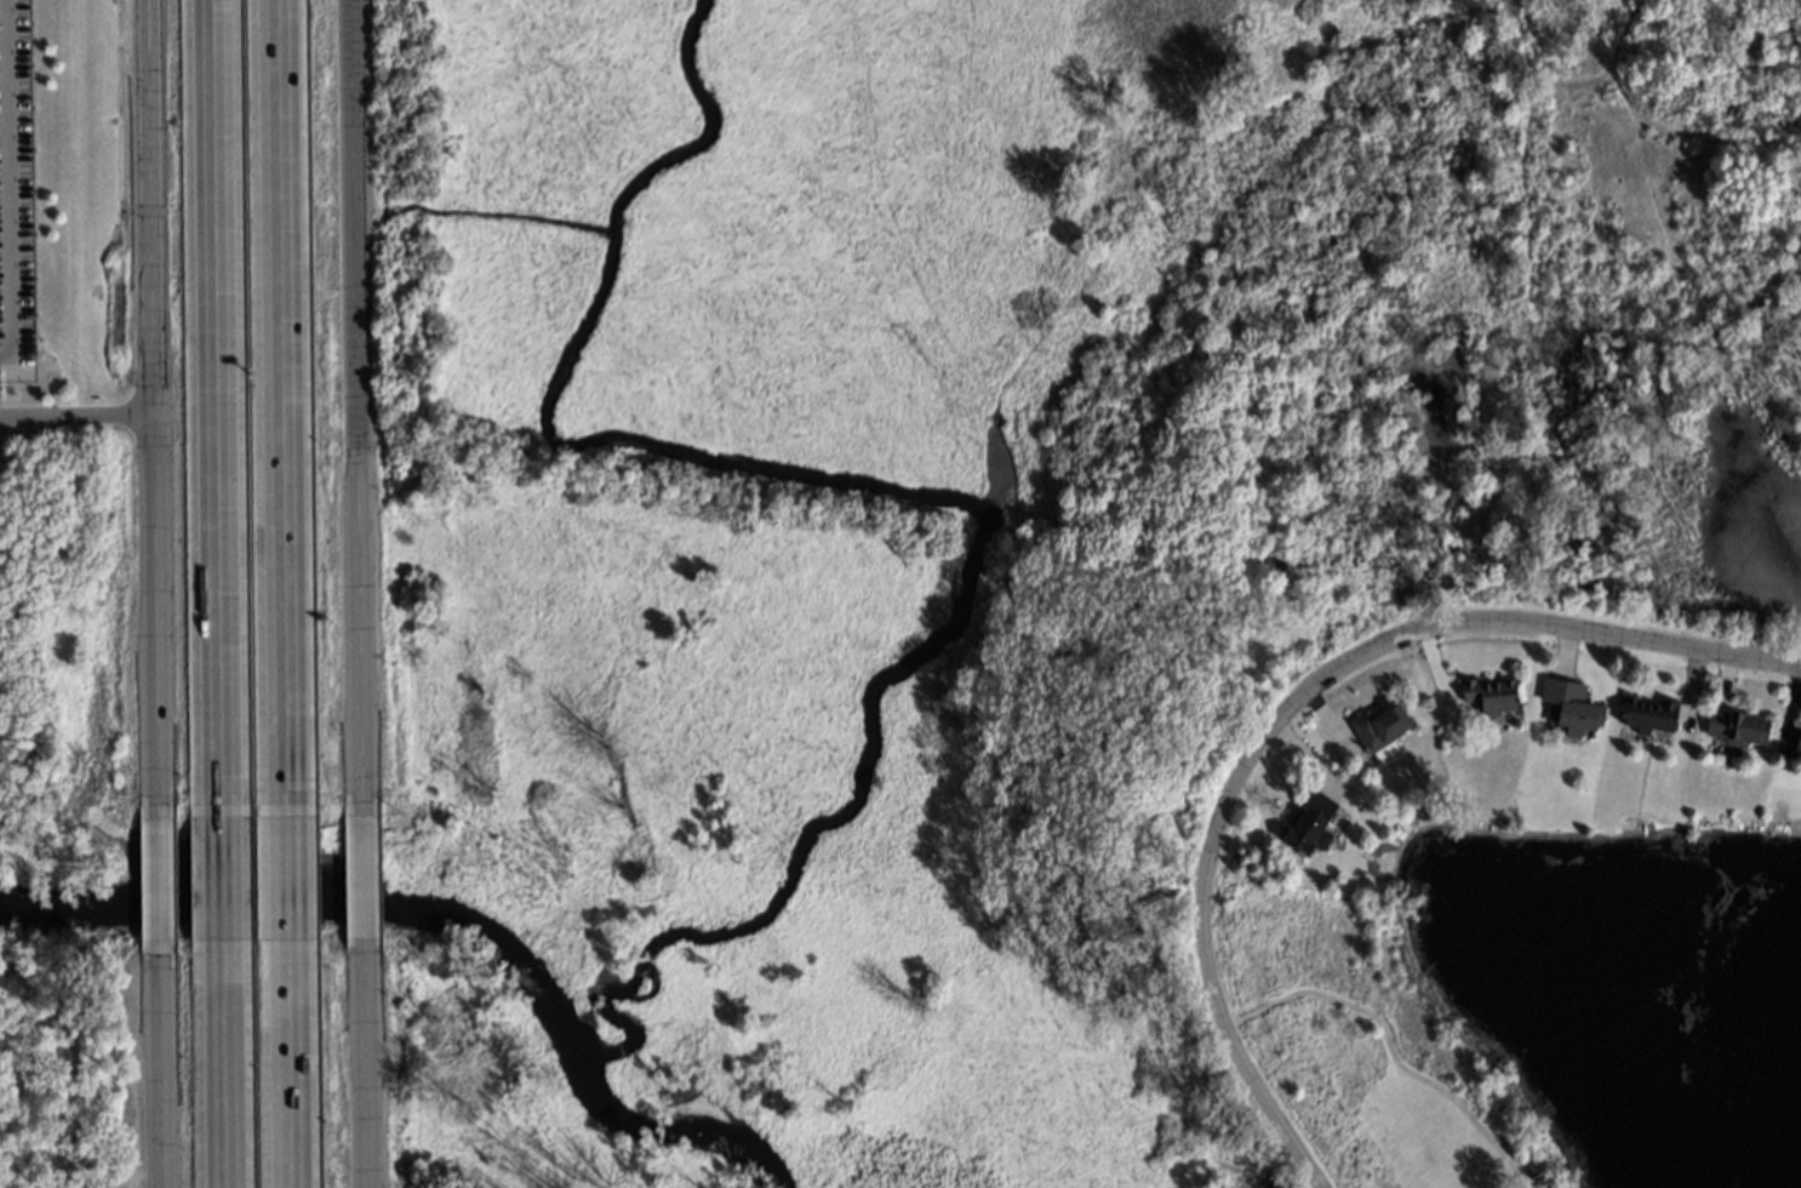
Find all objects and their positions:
road: (5, 178)
road: (362, 401)
road: (159, 407)
road: (217, 407)
road: (278, 409)
road: (80, 412)
road: (1673, 646)
building: (1487, 691)
building: (1567, 702)
building: (1647, 710)
building: (1729, 721)
building: (1376, 724)
building: (1795, 736)
road: (1222, 815)
building: (1310, 819)
road: (367, 874)
road: (222, 878)
road: (159, 879)
road: (282, 879)
river: (324, 904)
park: (1370, 1040)
road: (224, 1064)
road: (284, 1064)
road: (160, 1066)
road: (368, 1067)
river: (673, 1130)

